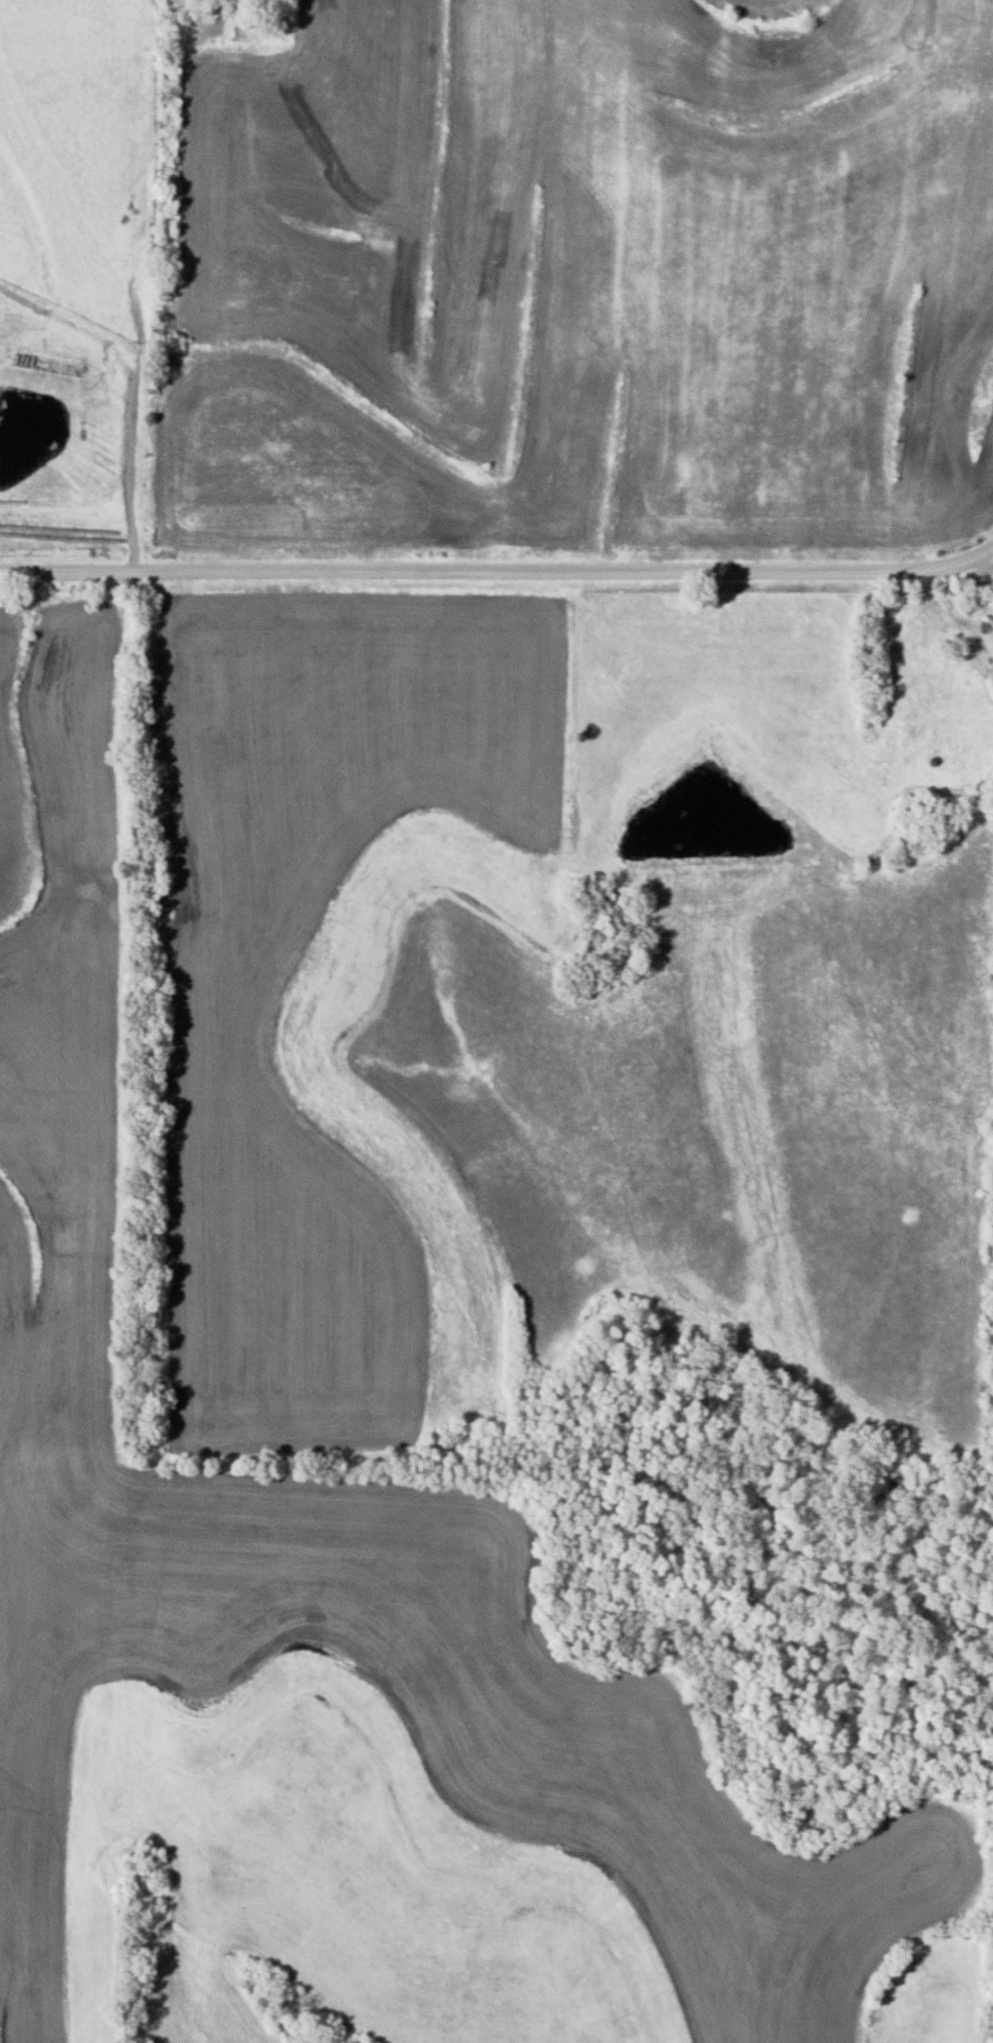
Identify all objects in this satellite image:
building: (105, 423)
road: (497, 567)

